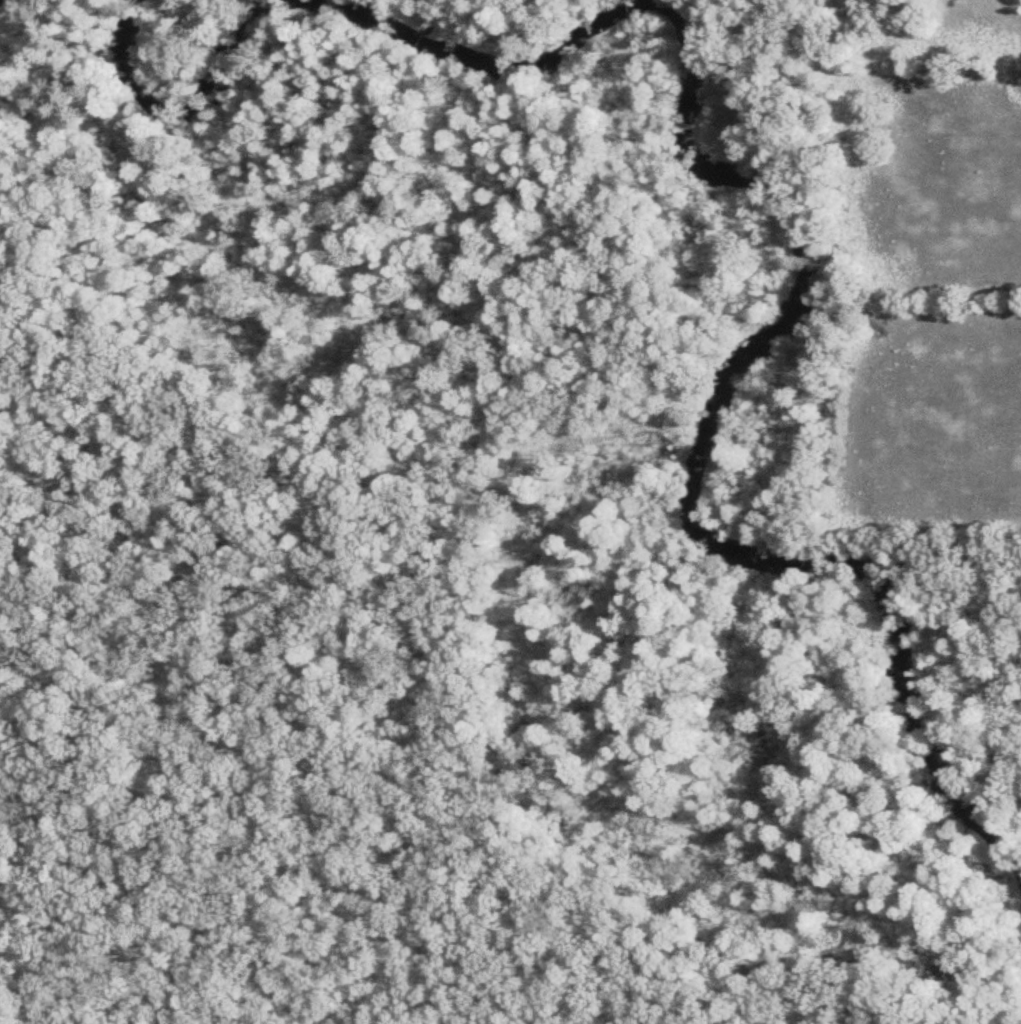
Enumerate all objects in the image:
river: (481, 59)
river: (185, 109)
river: (703, 453)

